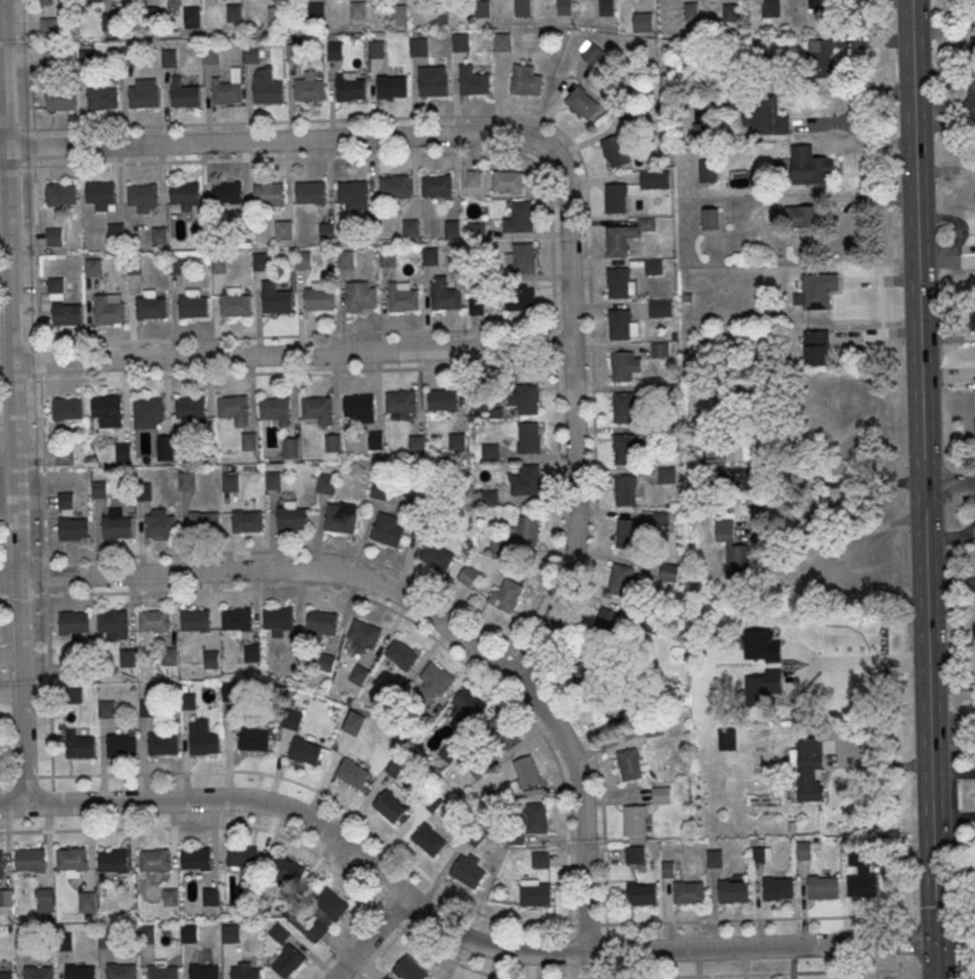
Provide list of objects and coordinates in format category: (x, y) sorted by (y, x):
building: (98, 0)
building: (46, 1)
building: (815, 4)
building: (846, 4)
building: (523, 8)
building: (565, 8)
building: (769, 8)
building: (607, 9)
building: (317, 10)
building: (358, 11)
building: (483, 11)
building: (691, 12)
building: (731, 13)
building: (400, 15)
building: (192, 17)
building: (438, 17)
building: (109, 21)
building: (641, 22)
building: (49, 26)
building: (502, 43)
building: (461, 44)
building: (418, 48)
building: (335, 50)
building: (376, 50)
building: (252, 53)
building: (293, 53)
building: (971, 53)
building: (592, 54)
building: (819, 58)
building: (526, 80)
building: (433, 83)
building: (474, 83)
building: (392, 89)
building: (309, 91)
building: (351, 91)
building: (268, 94)
building: (226, 95)
building: (144, 96)
building: (60, 97)
building: (102, 97)
building: (185, 97)
building: (582, 102)
building: (765, 115)
road: (450, 116)
road: (853, 121)
road: (10, 129)
road: (26, 129)
road: (274, 141)
building: (615, 151)
road: (179, 161)
building: (810, 167)
building: (707, 170)
building: (474, 178)
building: (654, 180)
building: (508, 182)
building: (437, 186)
road: (878, 187)
building: (395, 188)
building: (60, 193)
building: (311, 193)
building: (353, 193)
building: (227, 194)
building: (101, 195)
building: (185, 195)
building: (270, 195)
building: (143, 196)
building: (616, 200)
building: (805, 216)
building: (522, 218)
building: (708, 218)
building: (410, 228)
building: (452, 228)
building: (283, 230)
building: (116, 231)
building: (327, 231)
building: (200, 232)
building: (476, 232)
building: (159, 235)
building: (54, 236)
road: (917, 242)
building: (618, 243)
building: (387, 256)
building: (430, 256)
building: (303, 259)
building: (345, 259)
building: (524, 260)
building: (261, 261)
building: (219, 263)
building: (175, 265)
building: (134, 266)
building: (93, 267)
building: (654, 269)
building: (479, 275)
building: (56, 285)
building: (619, 285)
building: (819, 292)
building: (445, 295)
building: (360, 296)
building: (402, 296)
building: (275, 297)
building: (319, 297)
building: (520, 299)
building: (235, 302)
building: (193, 304)
building: (476, 305)
building: (151, 306)
building: (109, 308)
building: (658, 310)
building: (66, 313)
building: (973, 324)
building: (620, 326)
road: (296, 335)
building: (818, 350)
building: (660, 351)
road: (291, 354)
building: (623, 369)
building: (666, 392)
road: (556, 396)
building: (526, 399)
building: (443, 402)
road: (12, 403)
building: (402, 404)
building: (67, 408)
building: (360, 409)
building: (624, 409)
building: (109, 411)
building: (150, 411)
building: (235, 411)
building: (193, 412)
building: (276, 412)
building: (318, 412)
road: (574, 417)
building: (667, 434)
building: (375, 439)
building: (529, 440)
building: (248, 441)
building: (457, 441)
building: (332, 442)
building: (416, 443)
building: (165, 445)
building: (290, 446)
building: (743, 449)
building: (123, 451)
building: (625, 452)
building: (63, 456)
building: (667, 477)
building: (185, 480)
building: (272, 480)
building: (229, 482)
building: (530, 482)
building: (326, 483)
road: (949, 483)
road: (831, 485)
building: (99, 488)
building: (380, 488)
building: (142, 490)
building: (626, 493)
building: (489, 494)
building: (65, 499)
building: (340, 516)
building: (292, 521)
building: (249, 524)
building: (206, 525)
building: (162, 528)
building: (386, 529)
building: (119, 530)
building: (527, 530)
building: (75, 532)
building: (629, 532)
road: (840, 535)
building: (499, 547)
building: (732, 550)
building: (435, 555)
road: (271, 569)
building: (471, 577)
building: (620, 580)
road: (951, 582)
road: (310, 587)
building: (506, 595)
building: (279, 620)
building: (322, 620)
building: (238, 621)
building: (197, 622)
building: (155, 623)
building: (114, 624)
building: (608, 624)
building: (75, 625)
building: (364, 632)
road: (954, 650)
building: (252, 652)
building: (400, 653)
building: (169, 655)
building: (128, 656)
building: (211, 658)
road: (872, 661)
building: (329, 662)
building: (437, 677)
building: (589, 678)
building: (230, 691)
building: (73, 695)
building: (187, 701)
building: (467, 707)
building: (105, 708)
building: (145, 708)
road: (929, 713)
building: (292, 719)
building: (353, 723)
building: (502, 731)
building: (254, 742)
building: (162, 743)
building: (203, 743)
building: (120, 744)
building: (79, 746)
building: (306, 754)
building: (630, 764)
building: (395, 770)
building: (811, 772)
road: (125, 773)
building: (526, 773)
road: (598, 773)
road: (25, 776)
building: (353, 776)
building: (663, 797)
road: (583, 803)
building: (433, 804)
building: (390, 809)
building: (537, 817)
building: (635, 820)
road: (313, 821)
road: (112, 828)
building: (476, 838)
building: (430, 843)
building: (804, 850)
building: (762, 854)
building: (196, 857)
building: (636, 857)
building: (30, 858)
building: (72, 858)
building: (715, 858)
building: (1, 859)
building: (154, 859)
building: (243, 859)
building: (112, 860)
building: (541, 862)
building: (468, 873)
building: (288, 876)
building: (861, 876)
road: (348, 881)
building: (823, 890)
building: (778, 891)
building: (733, 894)
building: (248, 895)
building: (689, 895)
building: (46, 896)
building: (211, 896)
building: (641, 896)
building: (170, 897)
building: (536, 897)
building: (6, 901)
building: (87, 901)
building: (266, 905)
building: (332, 906)
road: (898, 912)
road: (639, 925)
building: (320, 927)
building: (279, 932)
building: (190, 936)
building: (232, 936)
building: (23, 937)
building: (147, 937)
building: (104, 938)
road: (370, 938)
building: (63, 941)
road: (343, 941)
traffic signals: (935, 943)
road: (761, 947)
building: (288, 961)
road: (450, 961)
road: (935, 961)
building: (121, 971)
building: (203, 971)
building: (245, 971)
building: (410, 971)
building: (39, 972)
building: (80, 972)
building: (163, 972)
building: (6, 975)
road: (772, 975)
building: (387, 977)

